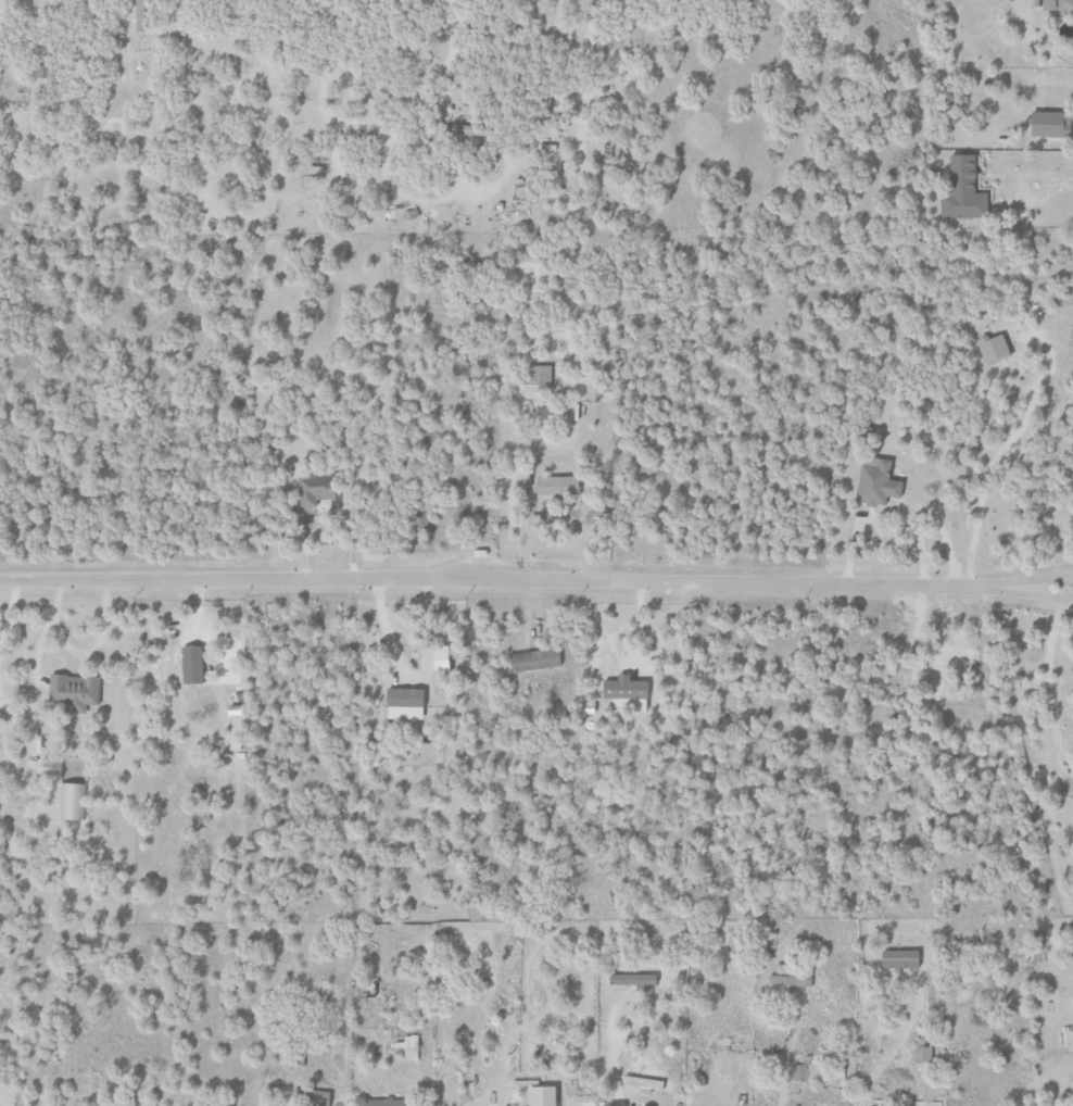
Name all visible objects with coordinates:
building: (1064, 5)
building: (141, 15)
road: (1037, 41)
building: (1048, 124)
road: (1059, 177)
building: (962, 190)
building: (1037, 309)
building: (992, 349)
building: (539, 375)
building: (875, 482)
building: (556, 485)
building: (318, 489)
road: (982, 497)
road: (1044, 581)
road: (507, 583)
road: (1044, 592)
road: (39, 642)
road: (83, 654)
building: (439, 659)
building: (533, 659)
building: (190, 664)
building: (73, 691)
building: (403, 697)
building: (898, 958)
building: (781, 968)
building: (631, 979)
building: (790, 980)
building: (407, 1046)
building: (921, 1054)
road: (784, 1063)
building: (798, 1071)
road: (609, 1072)
building: (539, 1095)
building: (124, 1099)
building: (383, 1102)

